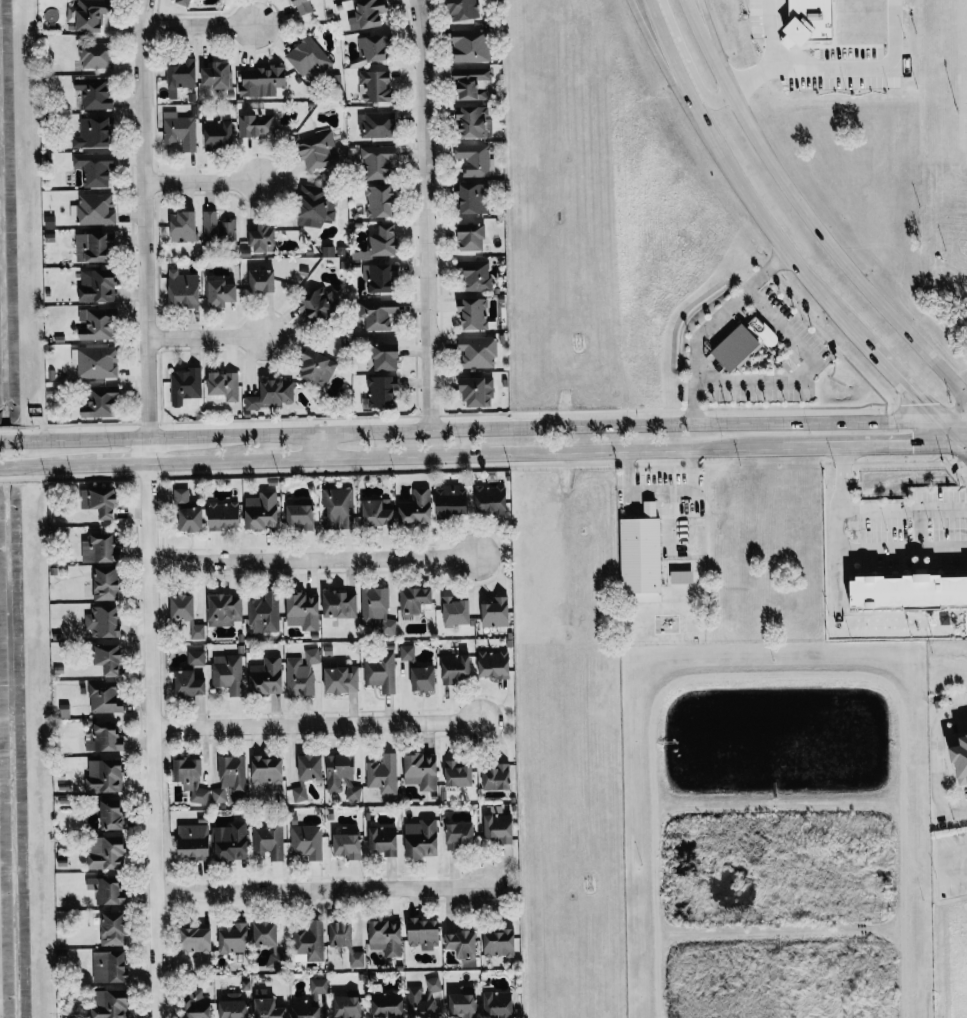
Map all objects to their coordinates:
building: (184, 2)
building: (302, 6)
building: (464, 9)
building: (368, 14)
building: (87, 15)
building: (812, 19)
road: (705, 23)
road: (197, 24)
building: (472, 44)
building: (375, 46)
building: (96, 54)
building: (309, 58)
road: (659, 58)
road: (689, 63)
road: (829, 63)
building: (218, 74)
building: (181, 76)
road: (754, 76)
building: (262, 80)
building: (472, 81)
building: (375, 85)
building: (95, 92)
building: (473, 120)
building: (376, 124)
building: (256, 125)
building: (180, 130)
building: (94, 132)
building: (219, 133)
building: (318, 150)
building: (474, 158)
building: (378, 161)
building: (96, 168)
road: (201, 181)
road: (738, 184)
building: (475, 197)
building: (379, 201)
building: (315, 205)
building: (93, 209)
road: (807, 212)
road: (424, 214)
building: (184, 226)
building: (218, 229)
building: (472, 236)
building: (264, 238)
building: (381, 243)
building: (95, 247)
building: (475, 274)
building: (379, 276)
building: (262, 280)
building: (98, 285)
building: (184, 288)
building: (222, 292)
building: (317, 305)
building: (473, 312)
building: (379, 313)
building: (98, 324)
road: (709, 325)
building: (764, 332)
road: (204, 336)
building: (737, 347)
building: (478, 351)
building: (386, 356)
building: (316, 368)
road: (806, 374)
road: (899, 383)
building: (224, 385)
building: (186, 387)
building: (478, 391)
building: (381, 392)
building: (273, 393)
building: (101, 401)
traffic signals: (919, 405)
road: (502, 427)
road: (947, 434)
road: (19, 440)
road: (323, 446)
road: (963, 447)
traffic signals: (928, 448)
road: (963, 452)
road: (498, 454)
road: (18, 468)
road: (662, 489)
building: (181, 494)
building: (491, 499)
building: (452, 500)
building: (101, 501)
building: (337, 507)
building: (652, 507)
road: (900, 507)
road: (148, 508)
building: (416, 509)
building: (262, 510)
building: (378, 513)
building: (225, 516)
building: (301, 516)
building: (192, 519)
road: (921, 526)
building: (99, 548)
road: (855, 548)
building: (641, 555)
road: (313, 558)
building: (106, 583)
building: (910, 592)
building: (415, 601)
building: (340, 604)
building: (183, 607)
building: (225, 609)
building: (377, 609)
building: (304, 611)
building: (456, 611)
building: (496, 612)
building: (265, 613)
building: (103, 621)
building: (197, 630)
building: (109, 658)
building: (494, 664)
building: (456, 669)
building: (419, 671)
building: (380, 672)
building: (228, 673)
building: (301, 673)
building: (192, 676)
building: (267, 677)
building: (342, 680)
building: (105, 698)
building: (65, 710)
road: (316, 724)
building: (105, 738)
road: (939, 759)
building: (962, 760)
building: (267, 770)
building: (422, 771)
building: (308, 774)
building: (383, 774)
building: (459, 774)
building: (342, 776)
building: (110, 777)
building: (230, 777)
building: (191, 778)
building: (498, 778)
building: (113, 814)
building: (499, 828)
building: (460, 836)
building: (422, 838)
building: (270, 840)
building: (384, 840)
building: (194, 841)
building: (307, 841)
building: (231, 842)
building: (348, 846)
building: (107, 853)
road: (947, 863)
road: (319, 889)
building: (108, 890)
building: (114, 928)
building: (424, 932)
building: (266, 933)
building: (387, 937)
building: (234, 939)
building: (196, 940)
building: (346, 940)
building: (309, 942)
building: (500, 943)
building: (463, 944)
building: (110, 967)
building: (318, 985)
building: (464, 1003)
building: (111, 1004)
building: (197, 1004)
building: (388, 1004)
building: (498, 1005)
building: (267, 1006)
building: (234, 1007)
building: (348, 1007)
building: (306, 1008)

